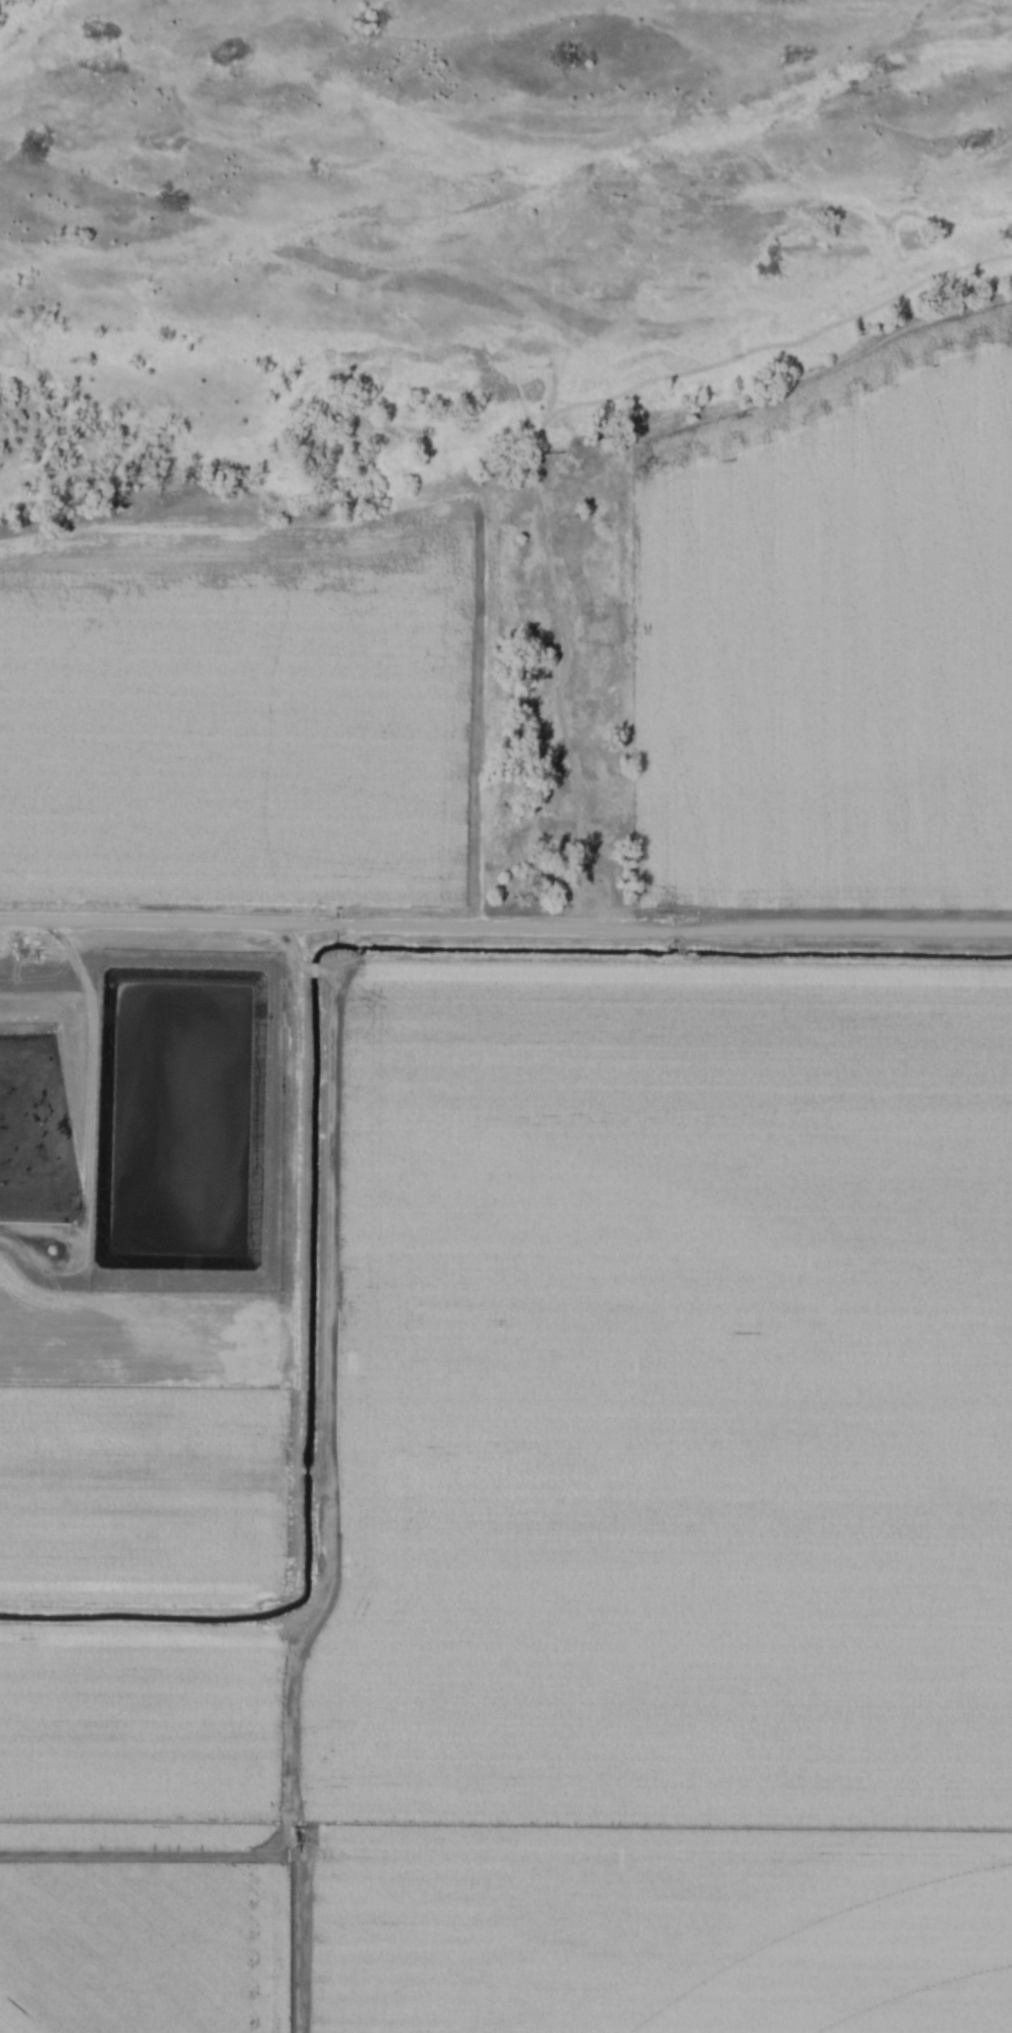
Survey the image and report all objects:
road: (510, 835)
road: (505, 926)

